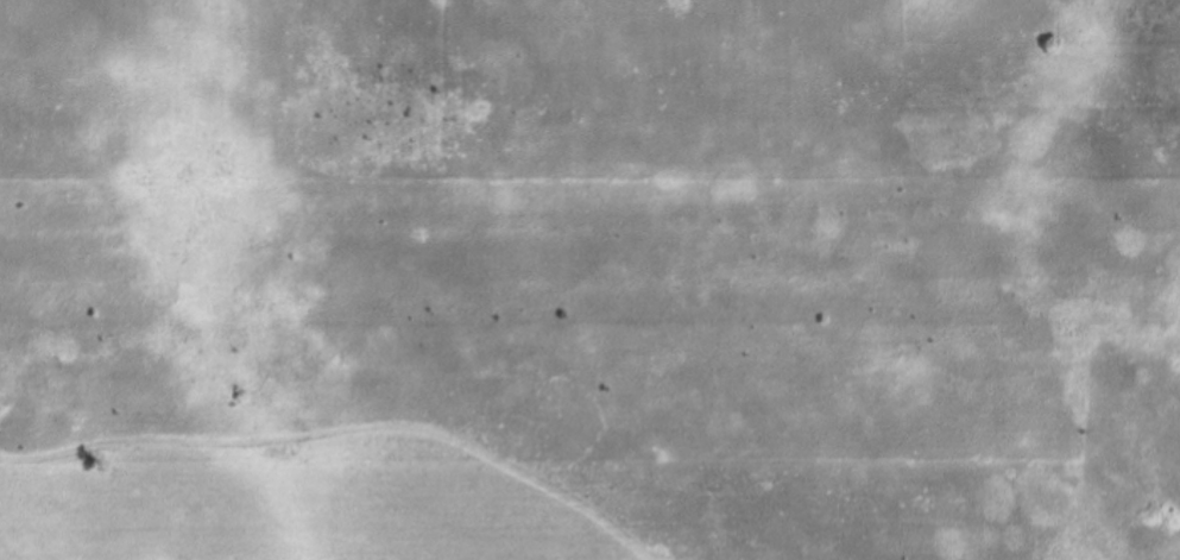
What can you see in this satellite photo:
park: (589, 279)
road: (349, 427)

